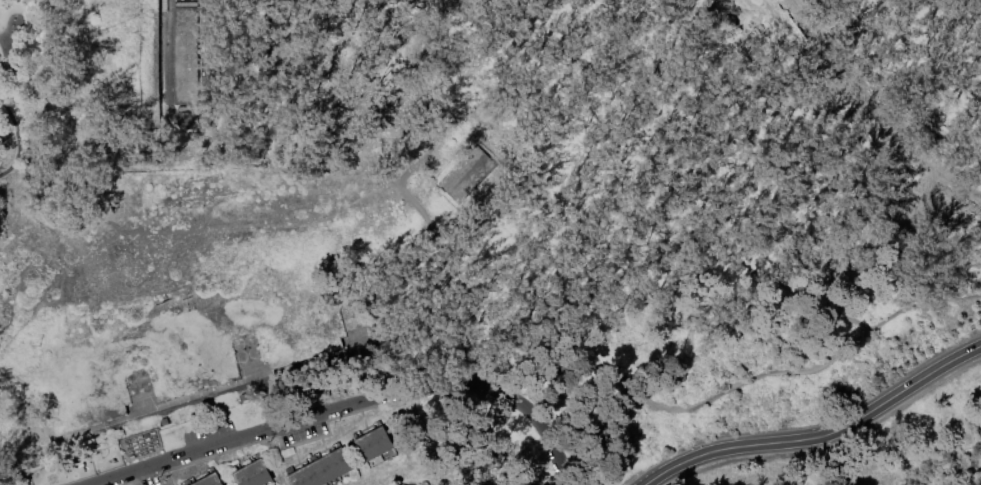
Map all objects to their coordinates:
building: (187, 55)
road: (872, 109)
road: (14, 134)
road: (672, 162)
park: (490, 242)
road: (548, 372)
road: (358, 404)
road: (819, 436)
building: (374, 444)
building: (323, 469)
building: (254, 474)
building: (208, 479)

